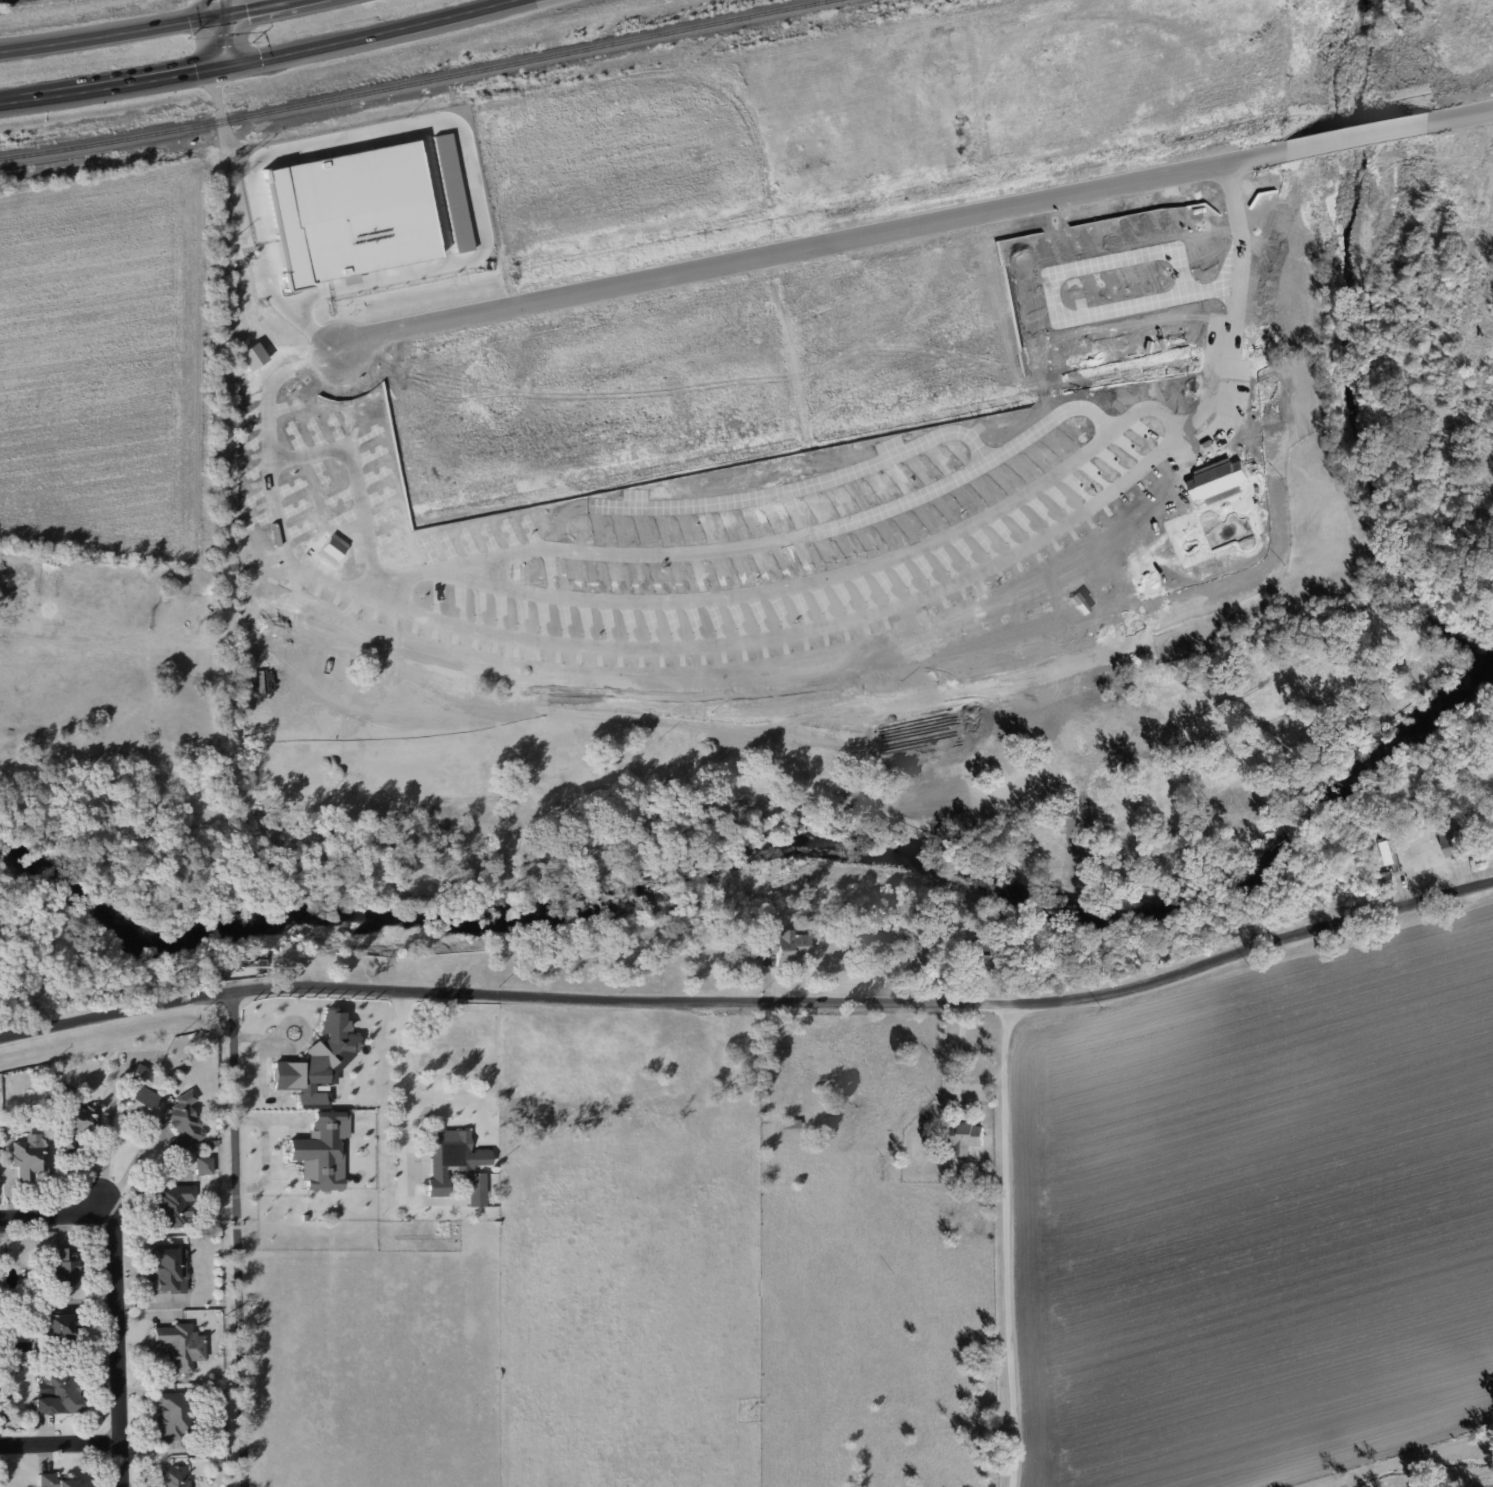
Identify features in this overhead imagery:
traffic signals: (224, 15)
road: (144, 28)
road: (223, 33)
road: (262, 58)
railway: (527, 60)
traffic signals: (222, 67)
road: (1460, 113)
road: (1359, 135)
railway: (110, 141)
road: (812, 246)
road: (1051, 304)
road: (231, 342)
road: (361, 488)
road: (772, 497)
road: (807, 536)
building: (768, 549)
building: (684, 563)
building: (888, 573)
road: (805, 585)
building: (900, 618)
road: (777, 638)
building: (1453, 842)
building: (785, 944)
road: (753, 1000)
road: (955, 1060)
building: (318, 1062)
road: (399, 1067)
building: (141, 1092)
road: (274, 1120)
building: (183, 1124)
building: (77, 1125)
building: (965, 1138)
building: (31, 1156)
building: (447, 1158)
building: (319, 1161)
road: (131, 1165)
building: (203, 1165)
road: (266, 1166)
building: (475, 1189)
building: (172, 1205)
crop: (1259, 1220)
road: (238, 1239)
road: (1012, 1248)
building: (63, 1267)
building: (169, 1270)
road: (114, 1291)
building: (60, 1326)
building: (180, 1346)
building: (58, 1391)
building: (173, 1416)
road: (61, 1444)
building: (173, 1476)
crop: (1480, 1480)
building: (58, 1481)

